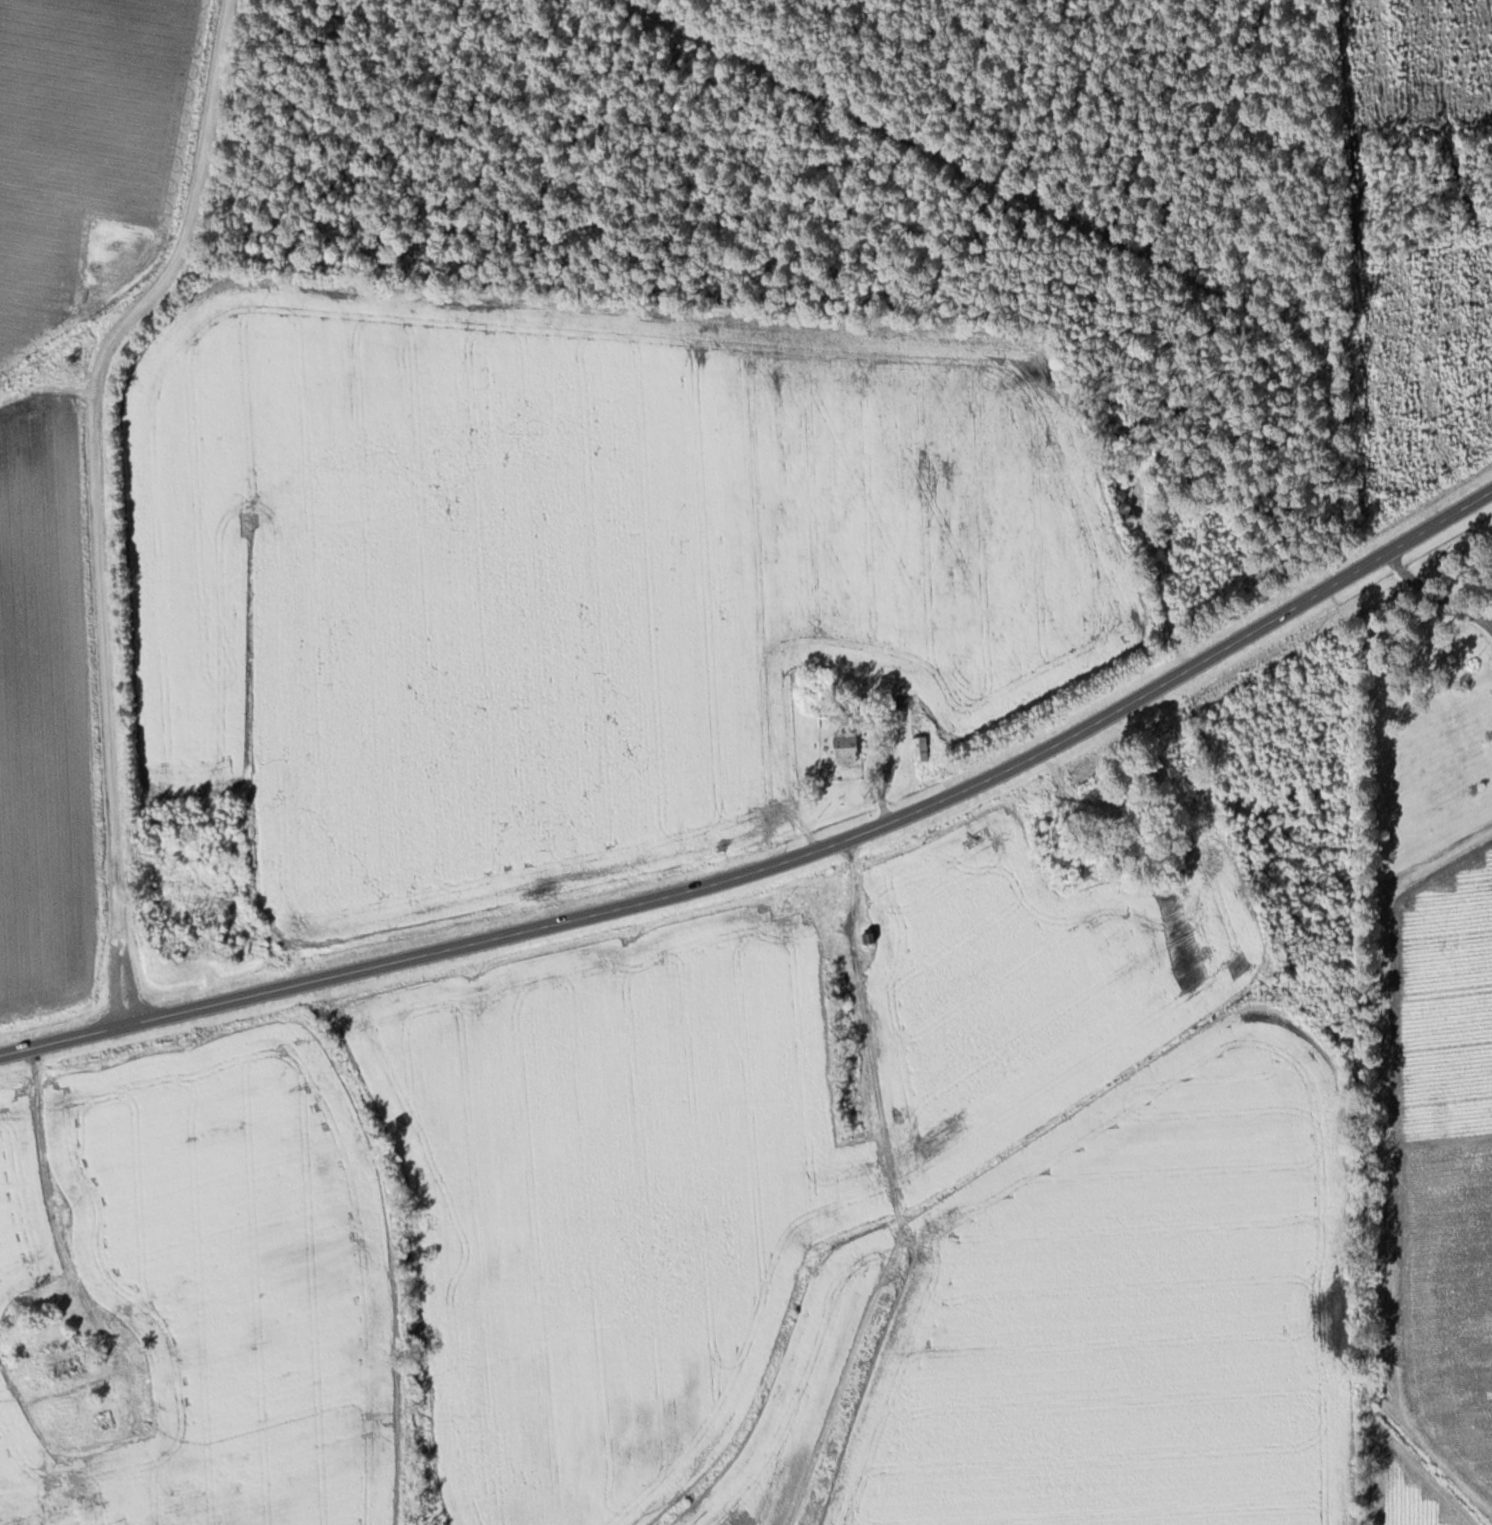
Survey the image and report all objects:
road: (96, 497)
building: (853, 742)
building: (921, 747)
road: (780, 861)
building: (868, 937)
building: (67, 1355)

